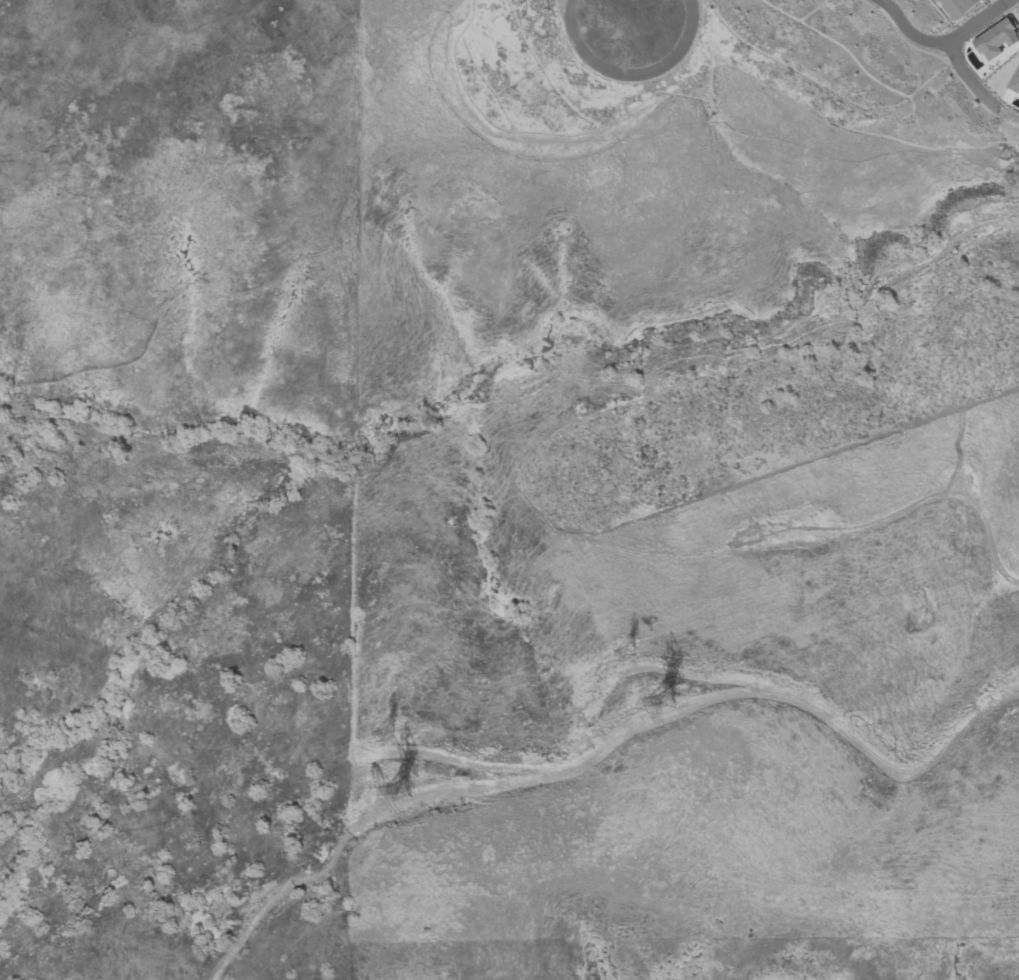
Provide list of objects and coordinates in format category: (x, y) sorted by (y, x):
road: (184, 24)
building: (1014, 81)
road: (12, 395)
power tower: (644, 643)
power tower: (683, 701)
power tower: (399, 732)
road: (614, 752)
power tower: (422, 793)

